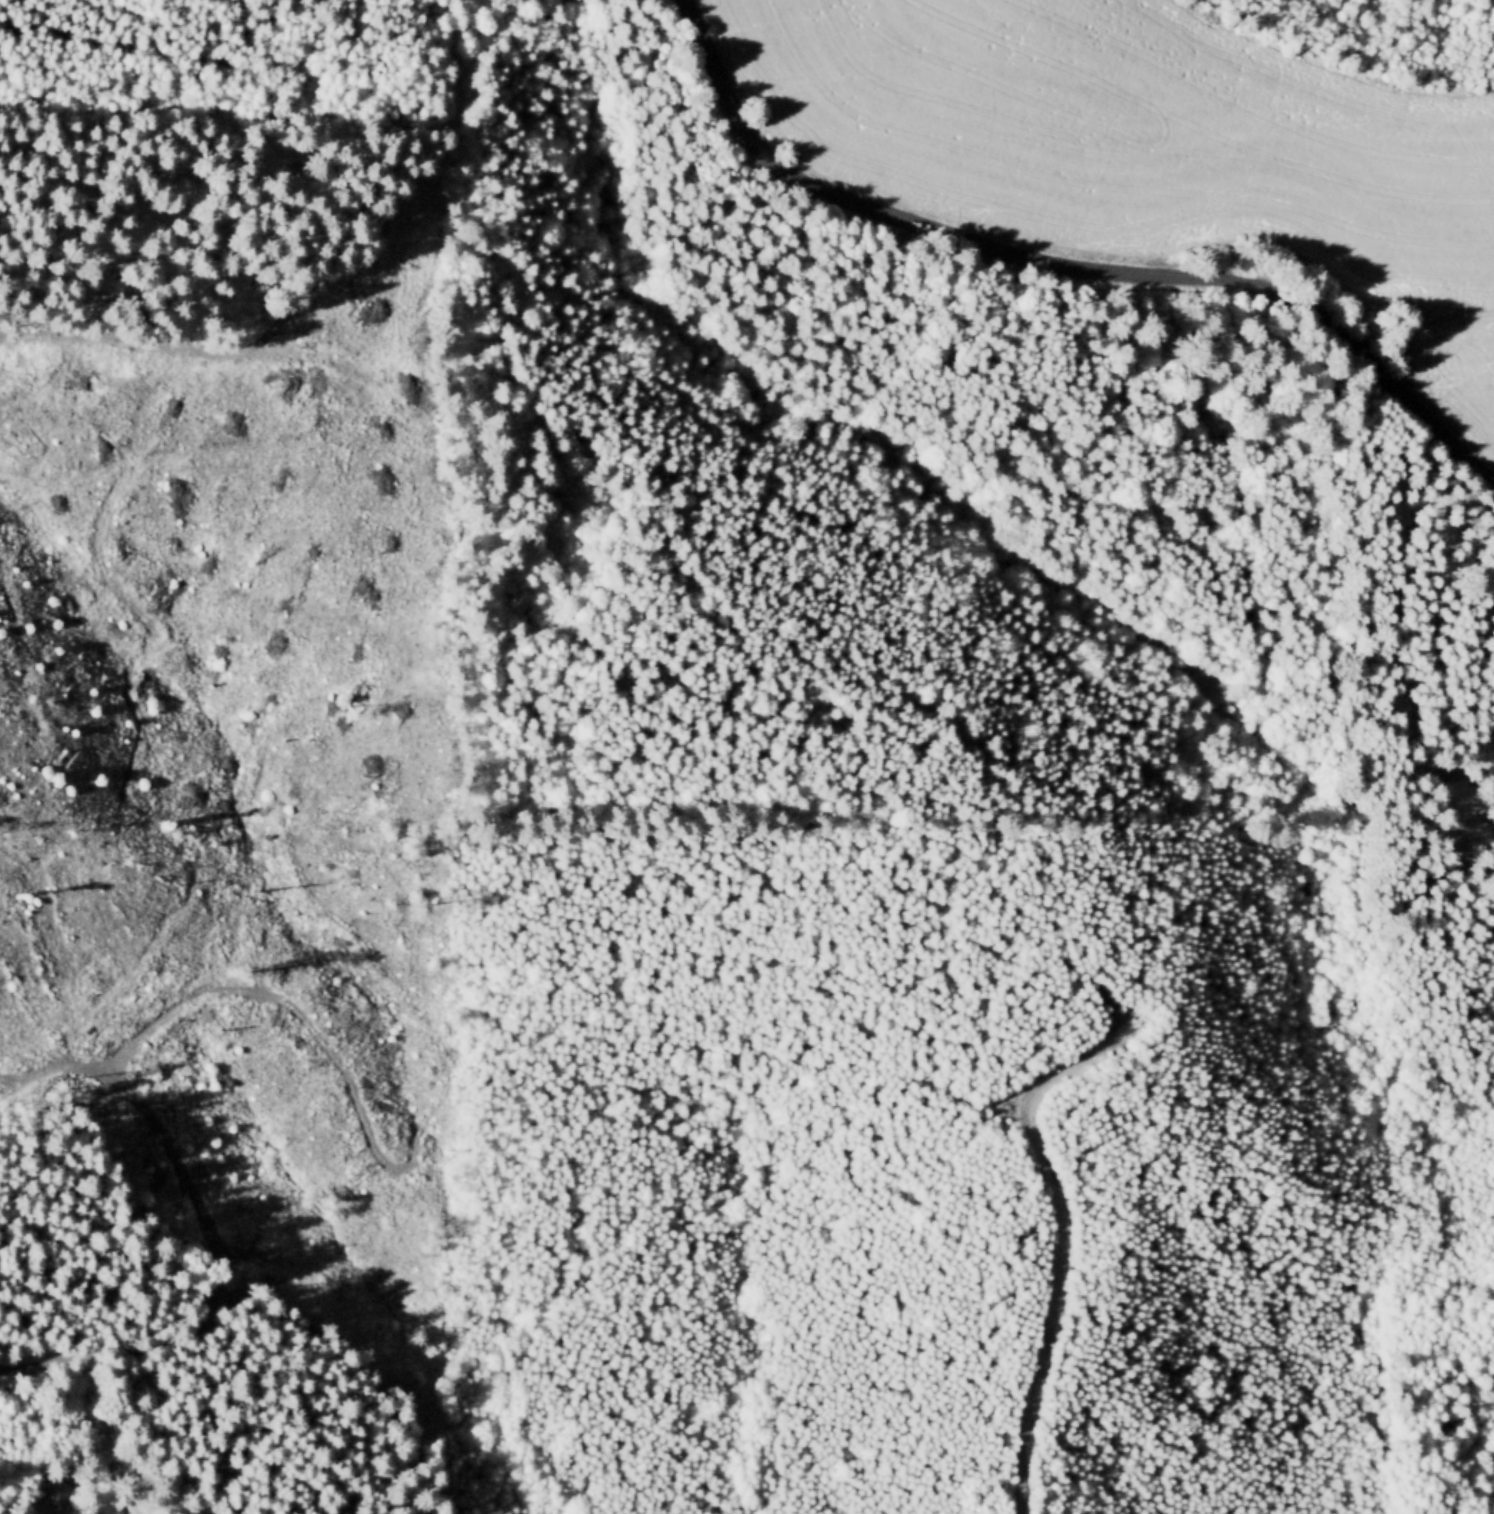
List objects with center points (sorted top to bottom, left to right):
crop: (1123, 137)
road: (1066, 269)
road: (1344, 299)
crop: (1453, 375)
road: (1062, 1231)
building: (61, 1489)

